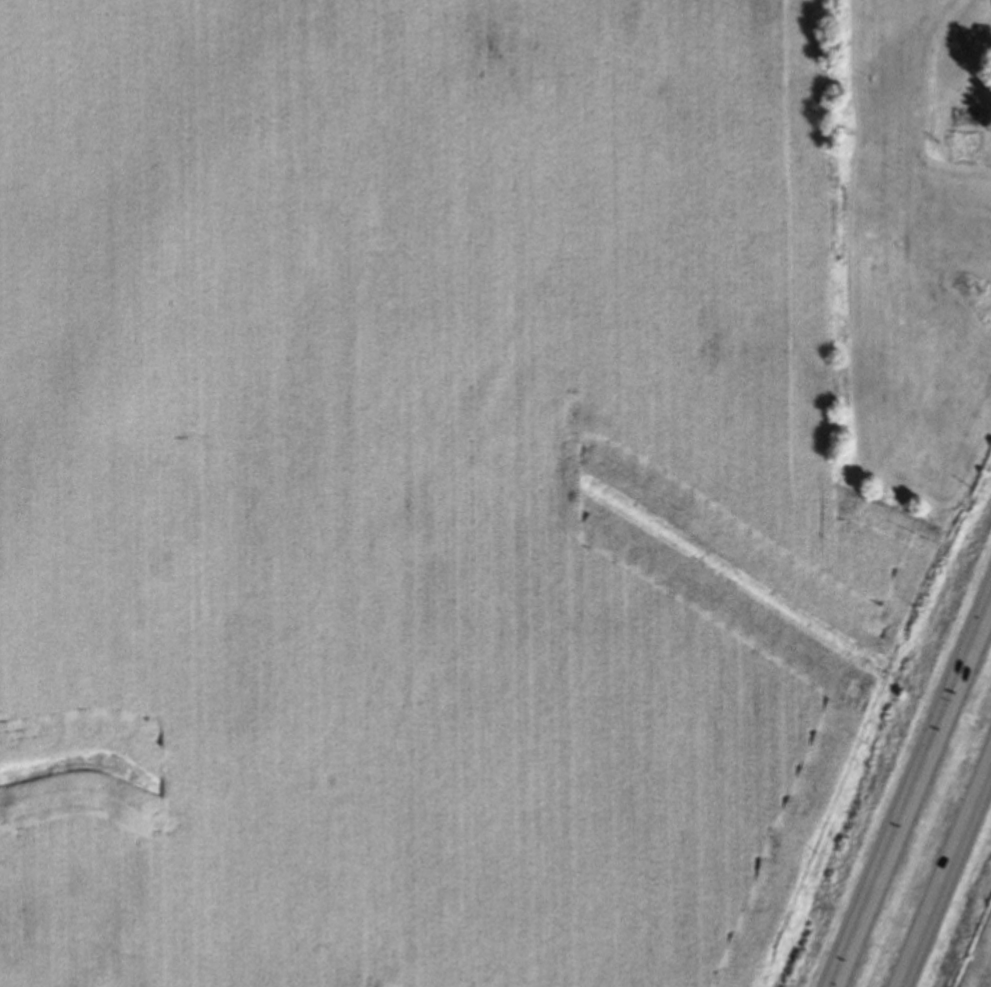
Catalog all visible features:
road: (907, 786)
road: (945, 875)

